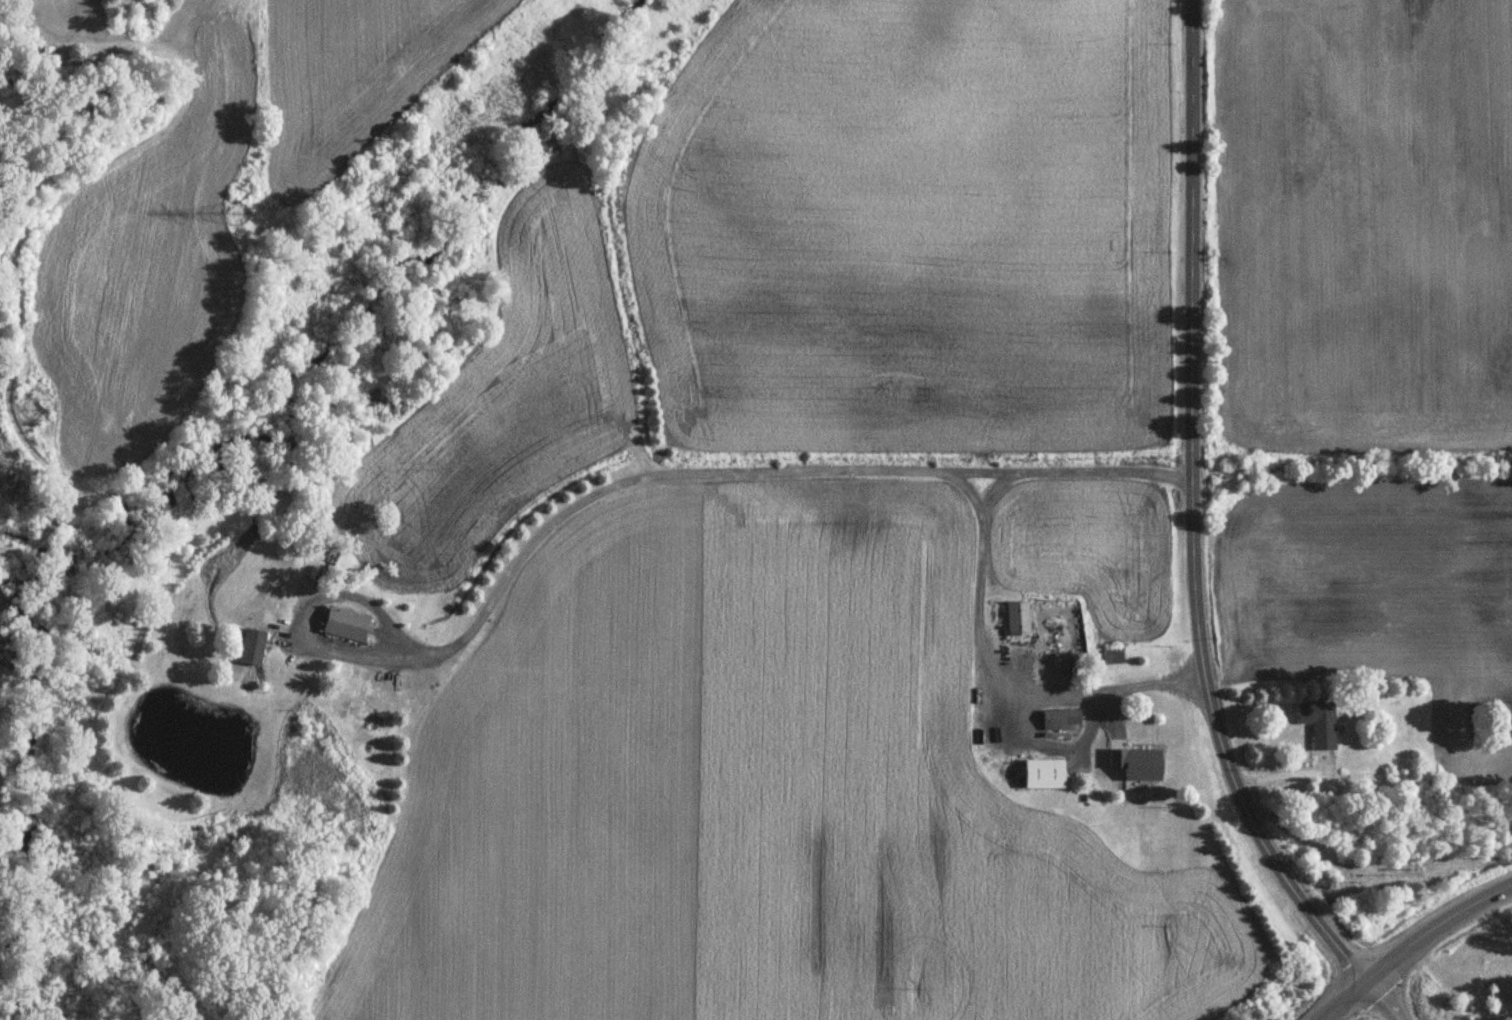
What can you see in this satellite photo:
building: (52, 59)
power tower: (242, 217)
power tower: (33, 416)
road: (632, 474)
road: (1195, 511)
building: (1015, 618)
building: (342, 624)
building: (249, 647)
road: (999, 671)
building: (1062, 722)
building: (1316, 723)
building: (1133, 763)
building: (1041, 773)
road: (1435, 931)
road: (1350, 994)
road: (1382, 999)
road: (1329, 1014)
road: (1332, 1014)

